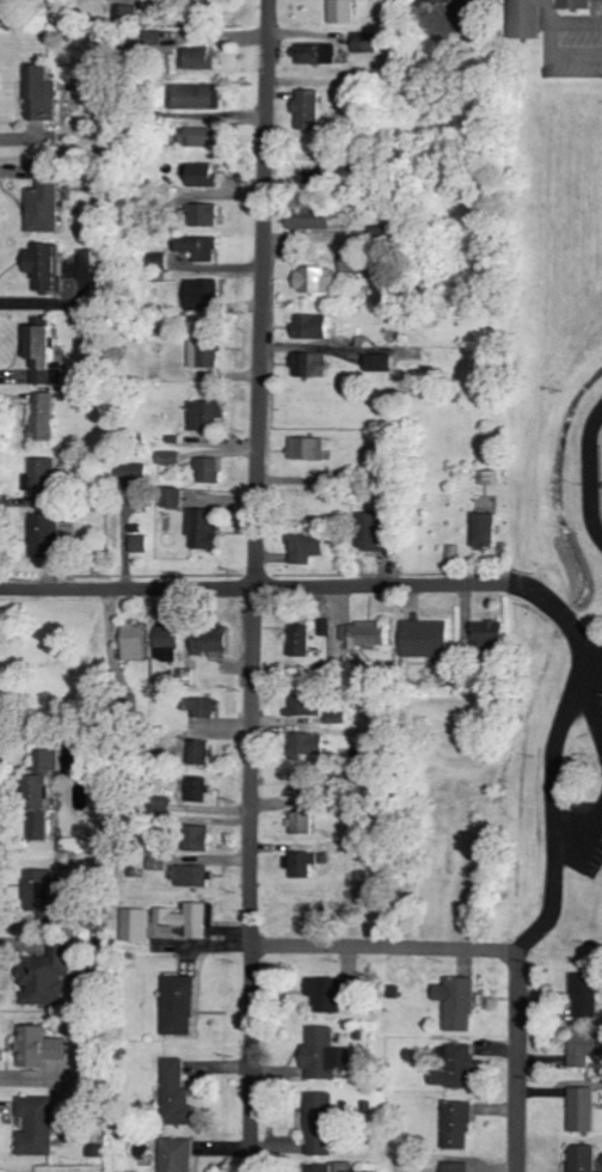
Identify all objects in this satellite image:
building: (437, 1)
building: (343, 11)
building: (130, 13)
building: (535, 14)
building: (153, 37)
building: (364, 47)
building: (317, 54)
building: (199, 59)
building: (42, 93)
building: (195, 97)
building: (306, 111)
building: (198, 137)
building: (201, 174)
building: (44, 207)
building: (203, 215)
building: (307, 219)
building: (198, 248)
building: (159, 263)
building: (42, 264)
building: (313, 280)
building: (202, 294)
building: (311, 327)
building: (37, 349)
building: (203, 355)
building: (377, 363)
building: (315, 366)
building: (204, 413)
building: (43, 417)
building: (307, 448)
building: (170, 456)
building: (208, 468)
road: (588, 468)
building: (133, 473)
building: (43, 474)
road: (601, 474)
building: (491, 477)
building: (171, 497)
building: (202, 528)
building: (483, 529)
building: (370, 532)
building: (44, 534)
building: (139, 542)
building: (305, 546)
road: (318, 584)
road: (256, 585)
building: (487, 631)
building: (363, 633)
building: (424, 638)
building: (210, 640)
building: (299, 640)
building: (133, 642)
building: (166, 643)
road: (595, 667)
road: (592, 704)
building: (297, 706)
building: (201, 707)
building: (305, 747)
building: (198, 751)
building: (197, 789)
building: (39, 792)
road: (551, 812)
building: (300, 822)
road: (582, 834)
building: (195, 837)
building: (300, 863)
building: (188, 875)
building: (41, 892)
building: (184, 919)
building: (134, 925)
road: (385, 947)
building: (45, 972)
building: (326, 993)
building: (583, 995)
building: (456, 1002)
building: (177, 1005)
building: (39, 1047)
building: (585, 1050)
building: (322, 1054)
road: (518, 1061)
building: (454, 1066)
building: (176, 1093)
building: (582, 1109)
building: (319, 1123)
building: (455, 1124)
building: (37, 1125)
building: (177, 1154)
building: (582, 1158)
building: (332, 1167)
building: (454, 1167)

